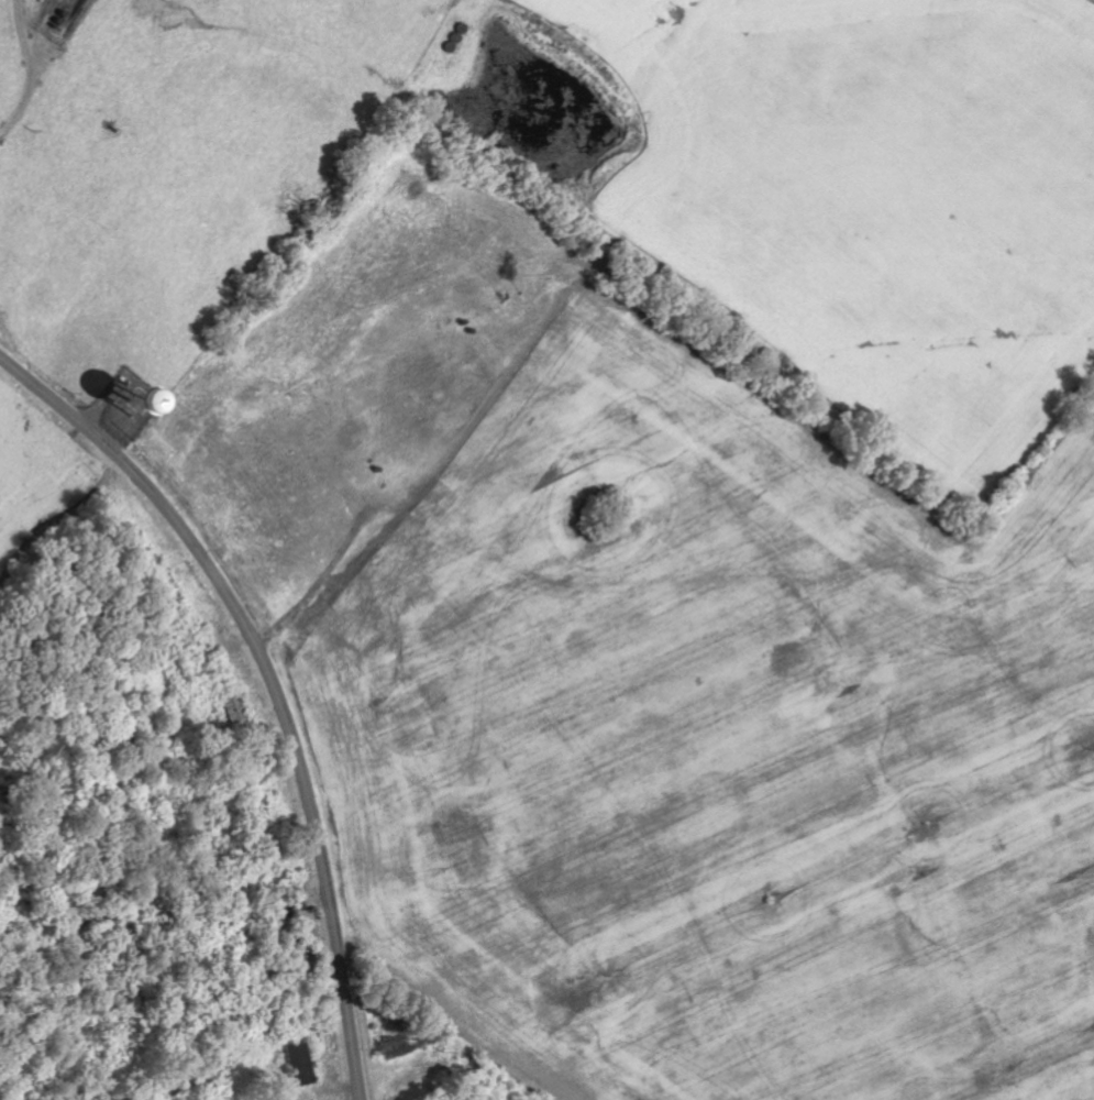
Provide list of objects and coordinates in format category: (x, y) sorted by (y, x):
road: (19, 35)
road: (269, 682)
building: (297, 1064)

